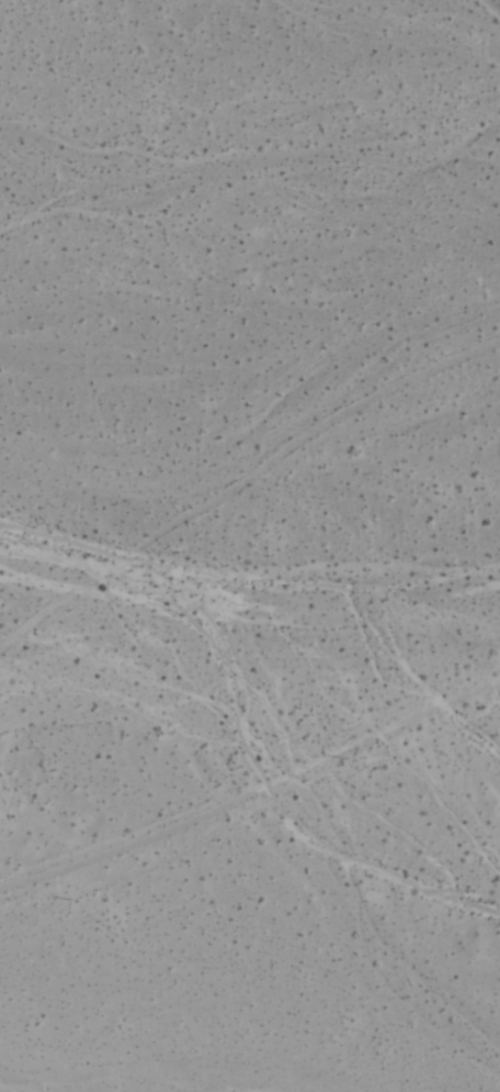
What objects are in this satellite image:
road: (252, 785)

